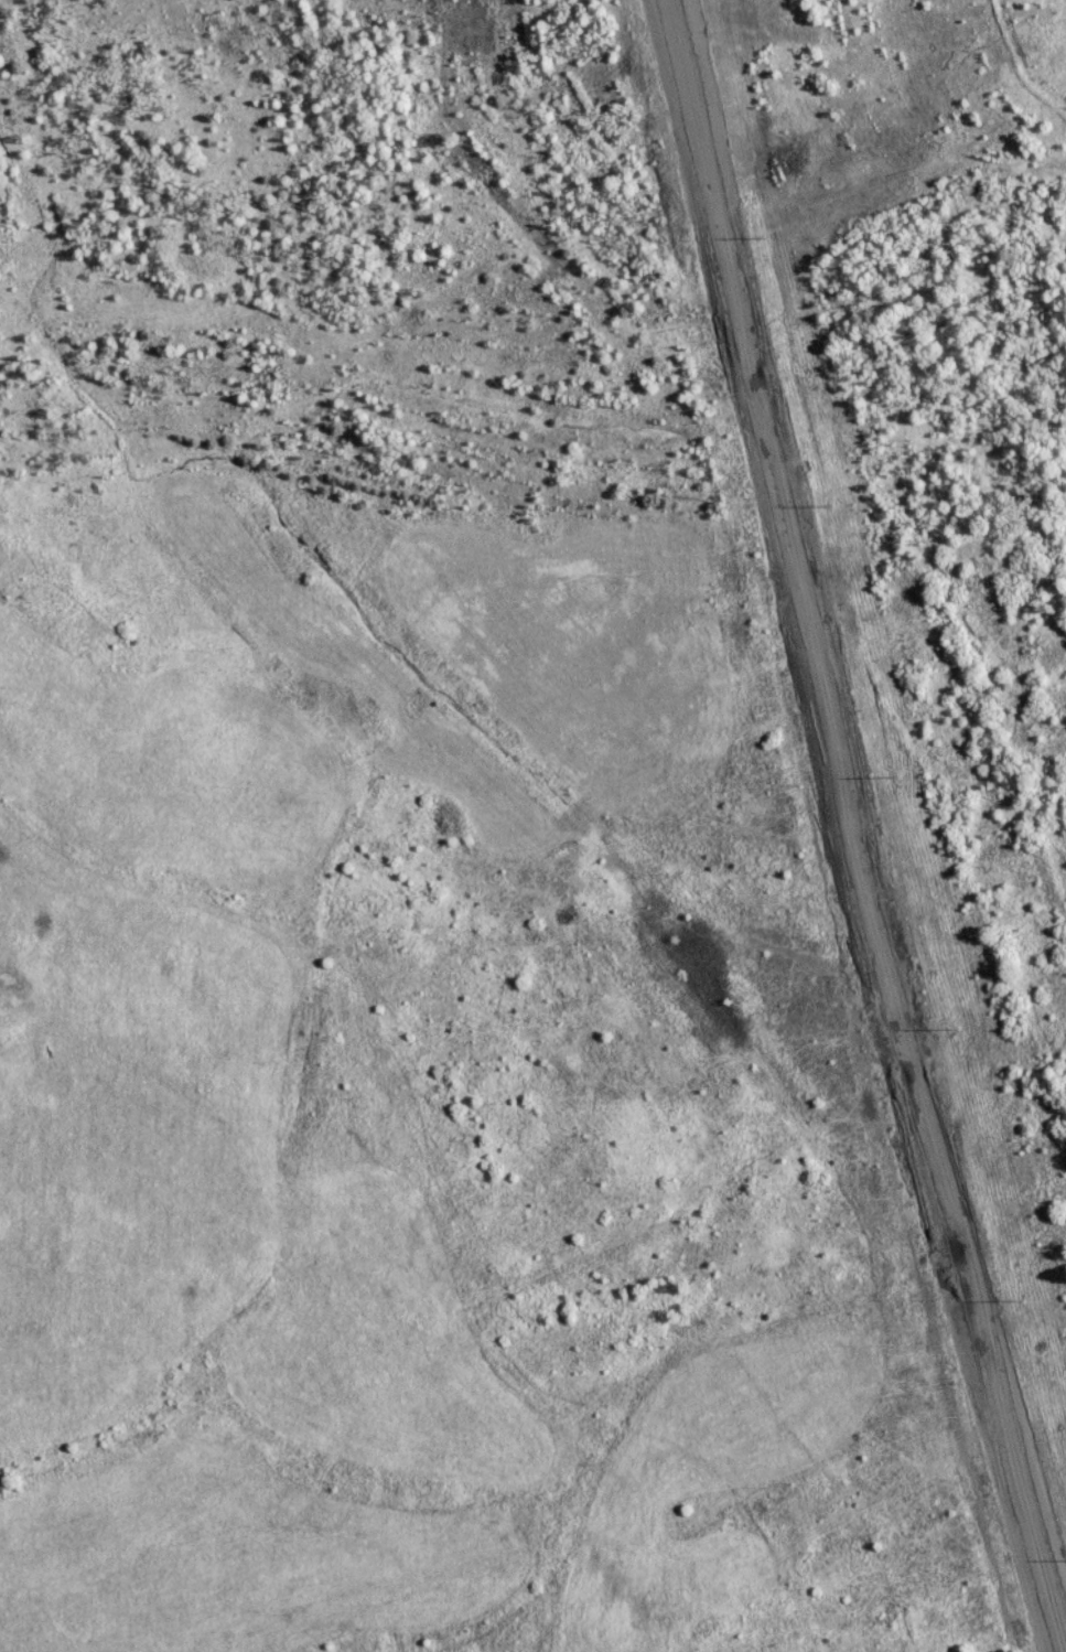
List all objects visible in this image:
road: (839, 829)

